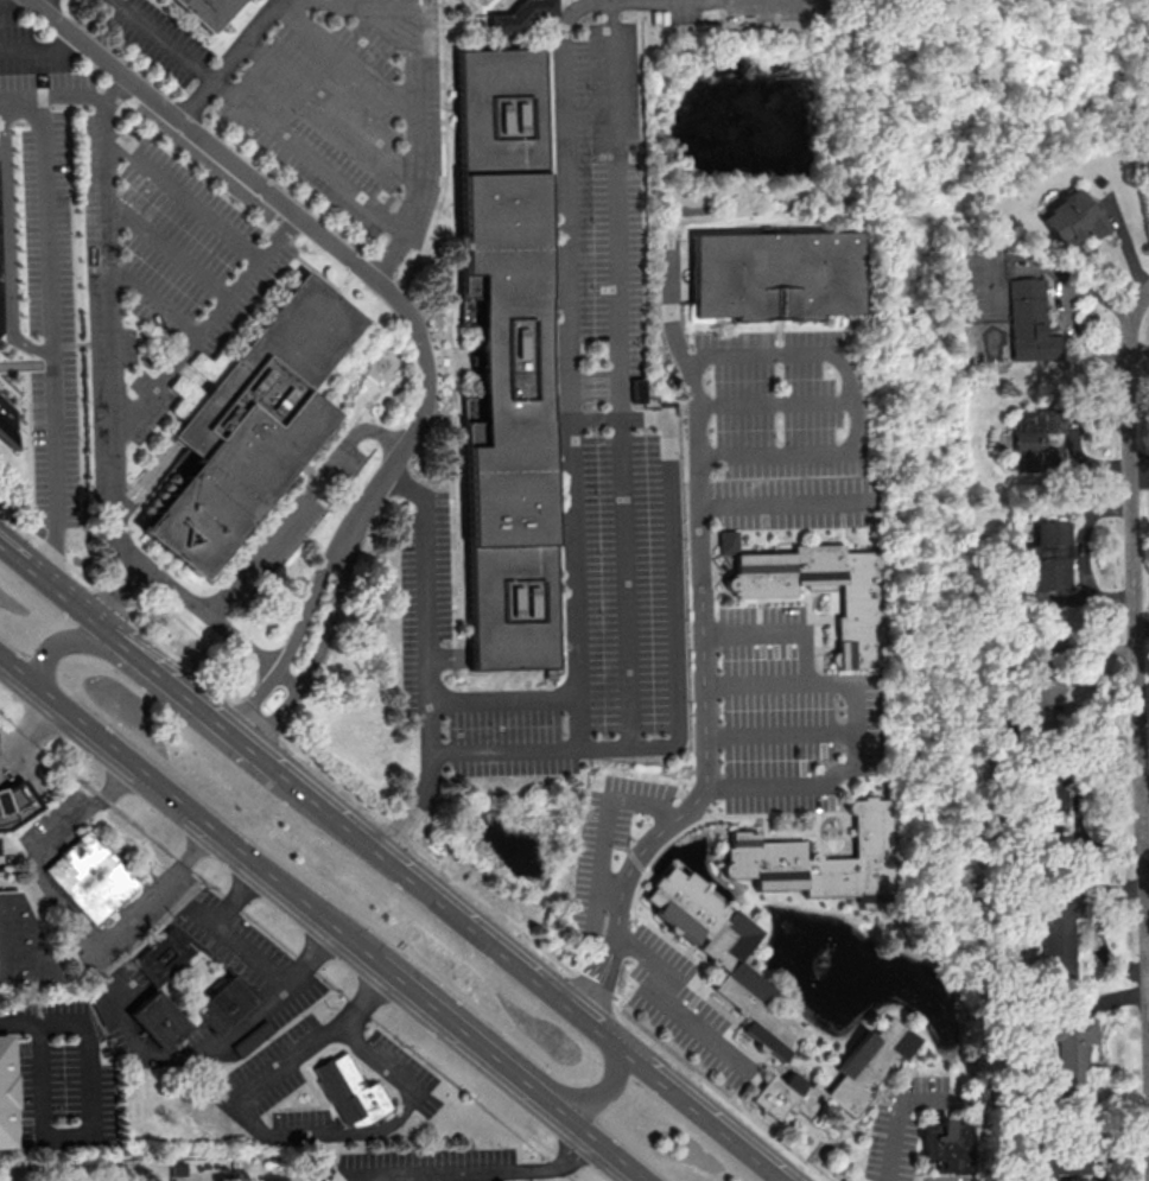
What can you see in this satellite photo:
road: (411, 2)
road: (50, 6)
building: (202, 12)
building: (516, 19)
road: (39, 49)
road: (343, 59)
road: (227, 61)
road: (413, 69)
road: (50, 102)
road: (1130, 106)
road: (329, 107)
road: (277, 131)
road: (183, 195)
building: (1071, 217)
road: (317, 231)
road: (7, 239)
road: (166, 248)
building: (772, 277)
road: (152, 300)
building: (1028, 322)
road: (203, 323)
road: (45, 341)
road: (109, 357)
building: (502, 362)
building: (639, 389)
road: (774, 401)
road: (851, 405)
road: (569, 409)
building: (246, 427)
building: (4, 428)
building: (1030, 444)
road: (785, 502)
road: (274, 538)
building: (1049, 557)
road: (31, 569)
road: (624, 582)
building: (815, 585)
road: (177, 590)
road: (81, 610)
road: (296, 634)
road: (55, 643)
road: (703, 646)
road: (318, 648)
road: (425, 662)
road: (1136, 673)
road: (756, 681)
road: (185, 693)
road: (502, 698)
road: (855, 703)
road: (780, 732)
road: (31, 738)
road: (603, 745)
road: (11, 760)
building: (15, 804)
building: (1043, 805)
road: (192, 815)
road: (610, 823)
road: (404, 836)
building: (821, 859)
building: (88, 880)
road: (68, 914)
building: (1053, 927)
building: (21, 948)
road: (293, 950)
building: (723, 953)
building: (161, 957)
road: (253, 959)
road: (526, 972)
road: (668, 1007)
building: (221, 1008)
road: (20, 1022)
building: (154, 1023)
road: (464, 1033)
road: (182, 1054)
building: (1071, 1054)
building: (862, 1068)
building: (349, 1093)
road: (595, 1093)
building: (4, 1099)
road: (901, 1124)
road: (274, 1136)
road: (88, 1139)
road: (591, 1139)
building: (945, 1147)
building: (1058, 1162)
road: (475, 1174)

